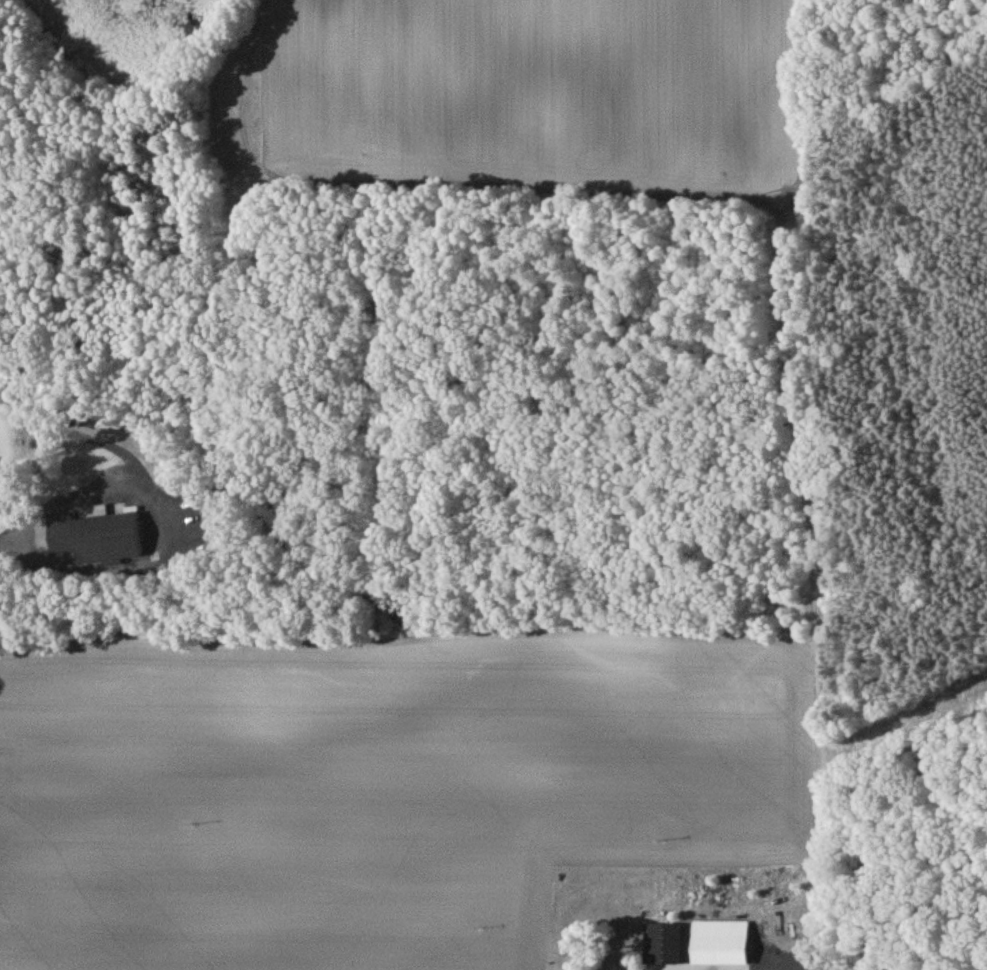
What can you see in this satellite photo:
road: (43, 499)
building: (94, 541)
building: (662, 946)
building: (720, 946)

